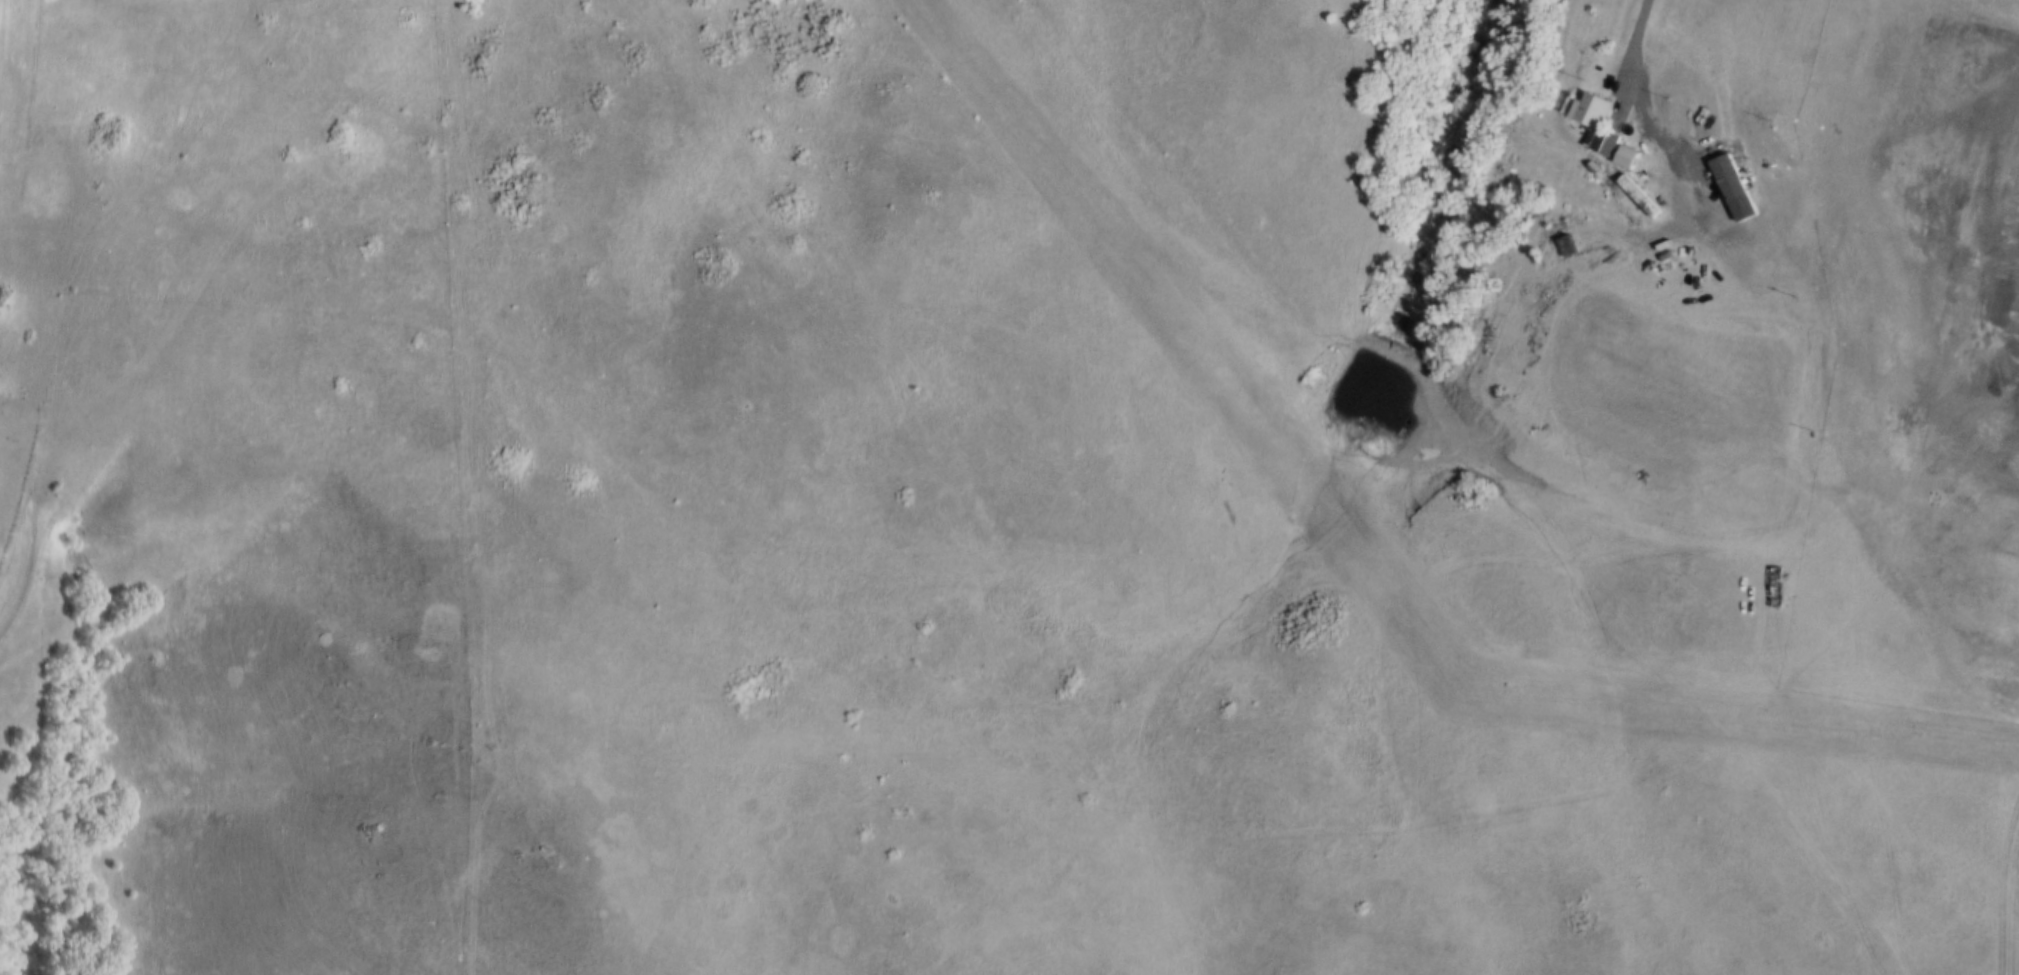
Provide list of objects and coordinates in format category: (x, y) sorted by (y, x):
road: (1627, 101)
building: (1585, 107)
building: (1598, 139)
building: (1623, 155)
building: (1562, 242)
building: (1773, 584)

